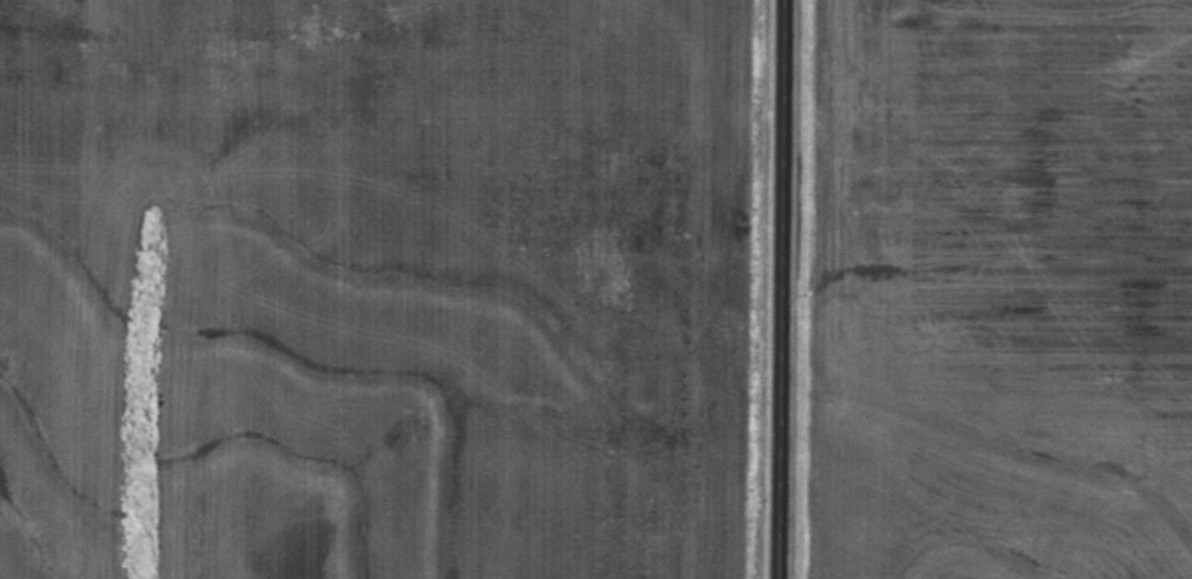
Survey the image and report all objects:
road: (789, 289)

